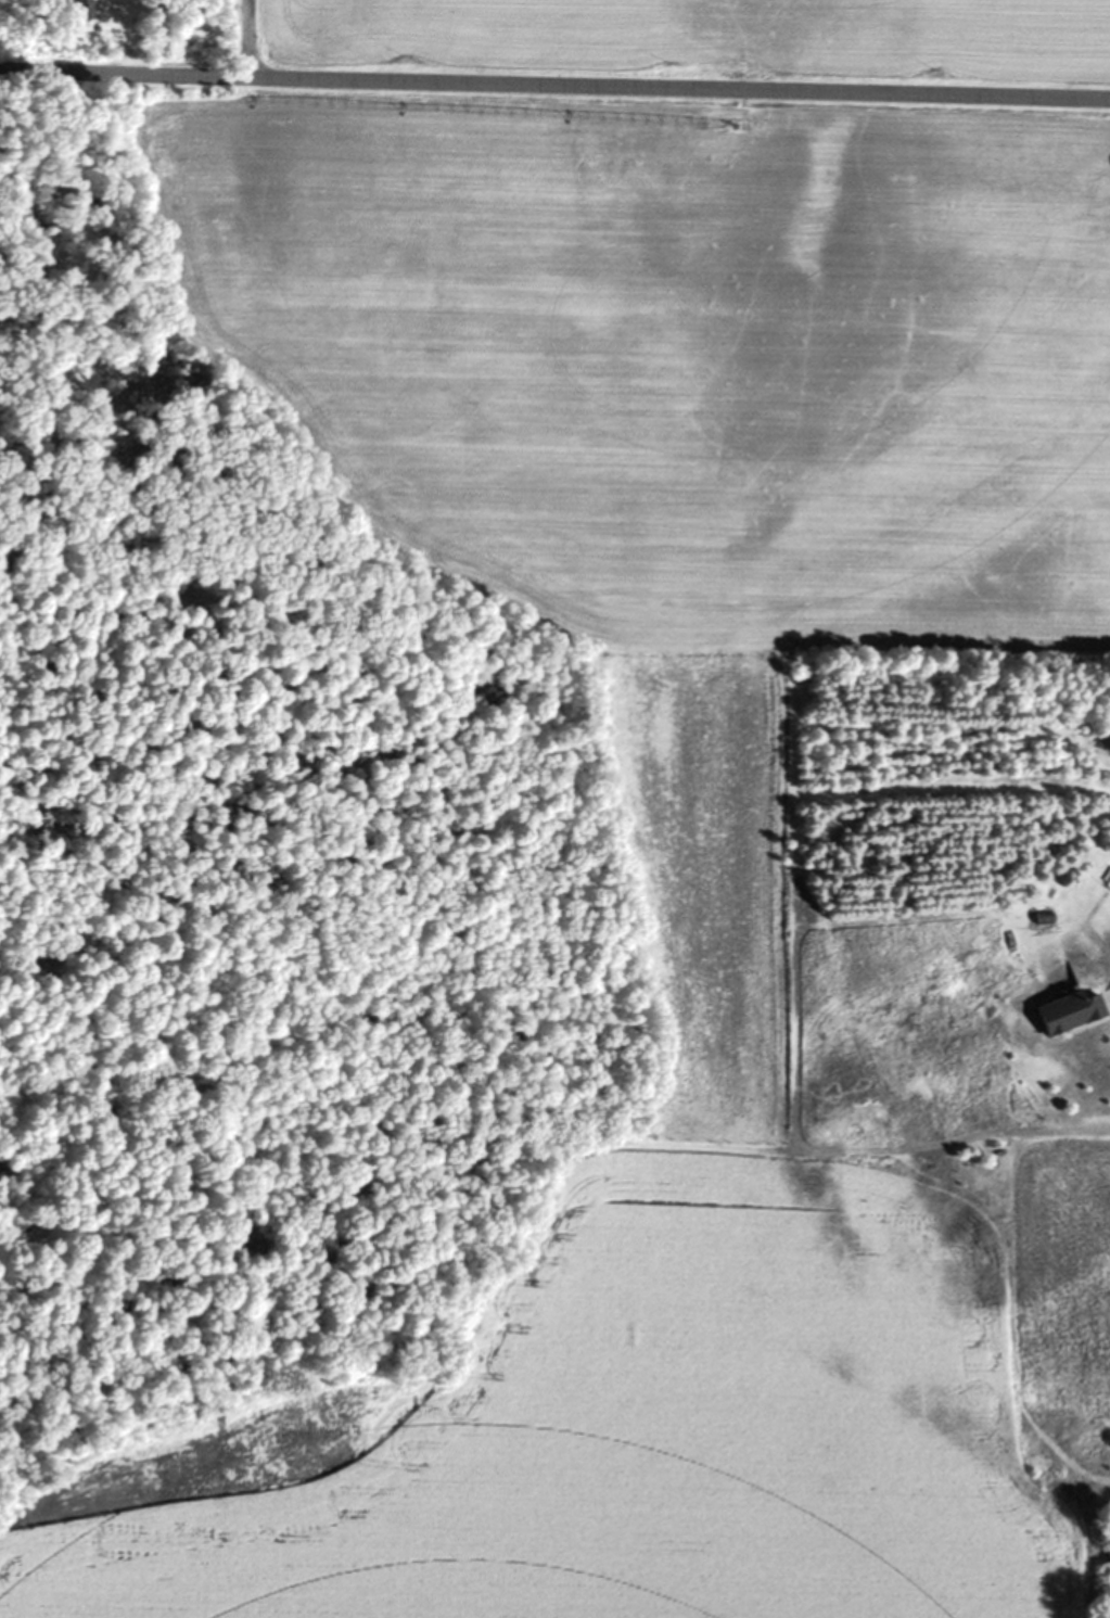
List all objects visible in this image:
road: (244, 37)
road: (554, 82)
building: (1071, 1014)
building: (1108, 1534)

